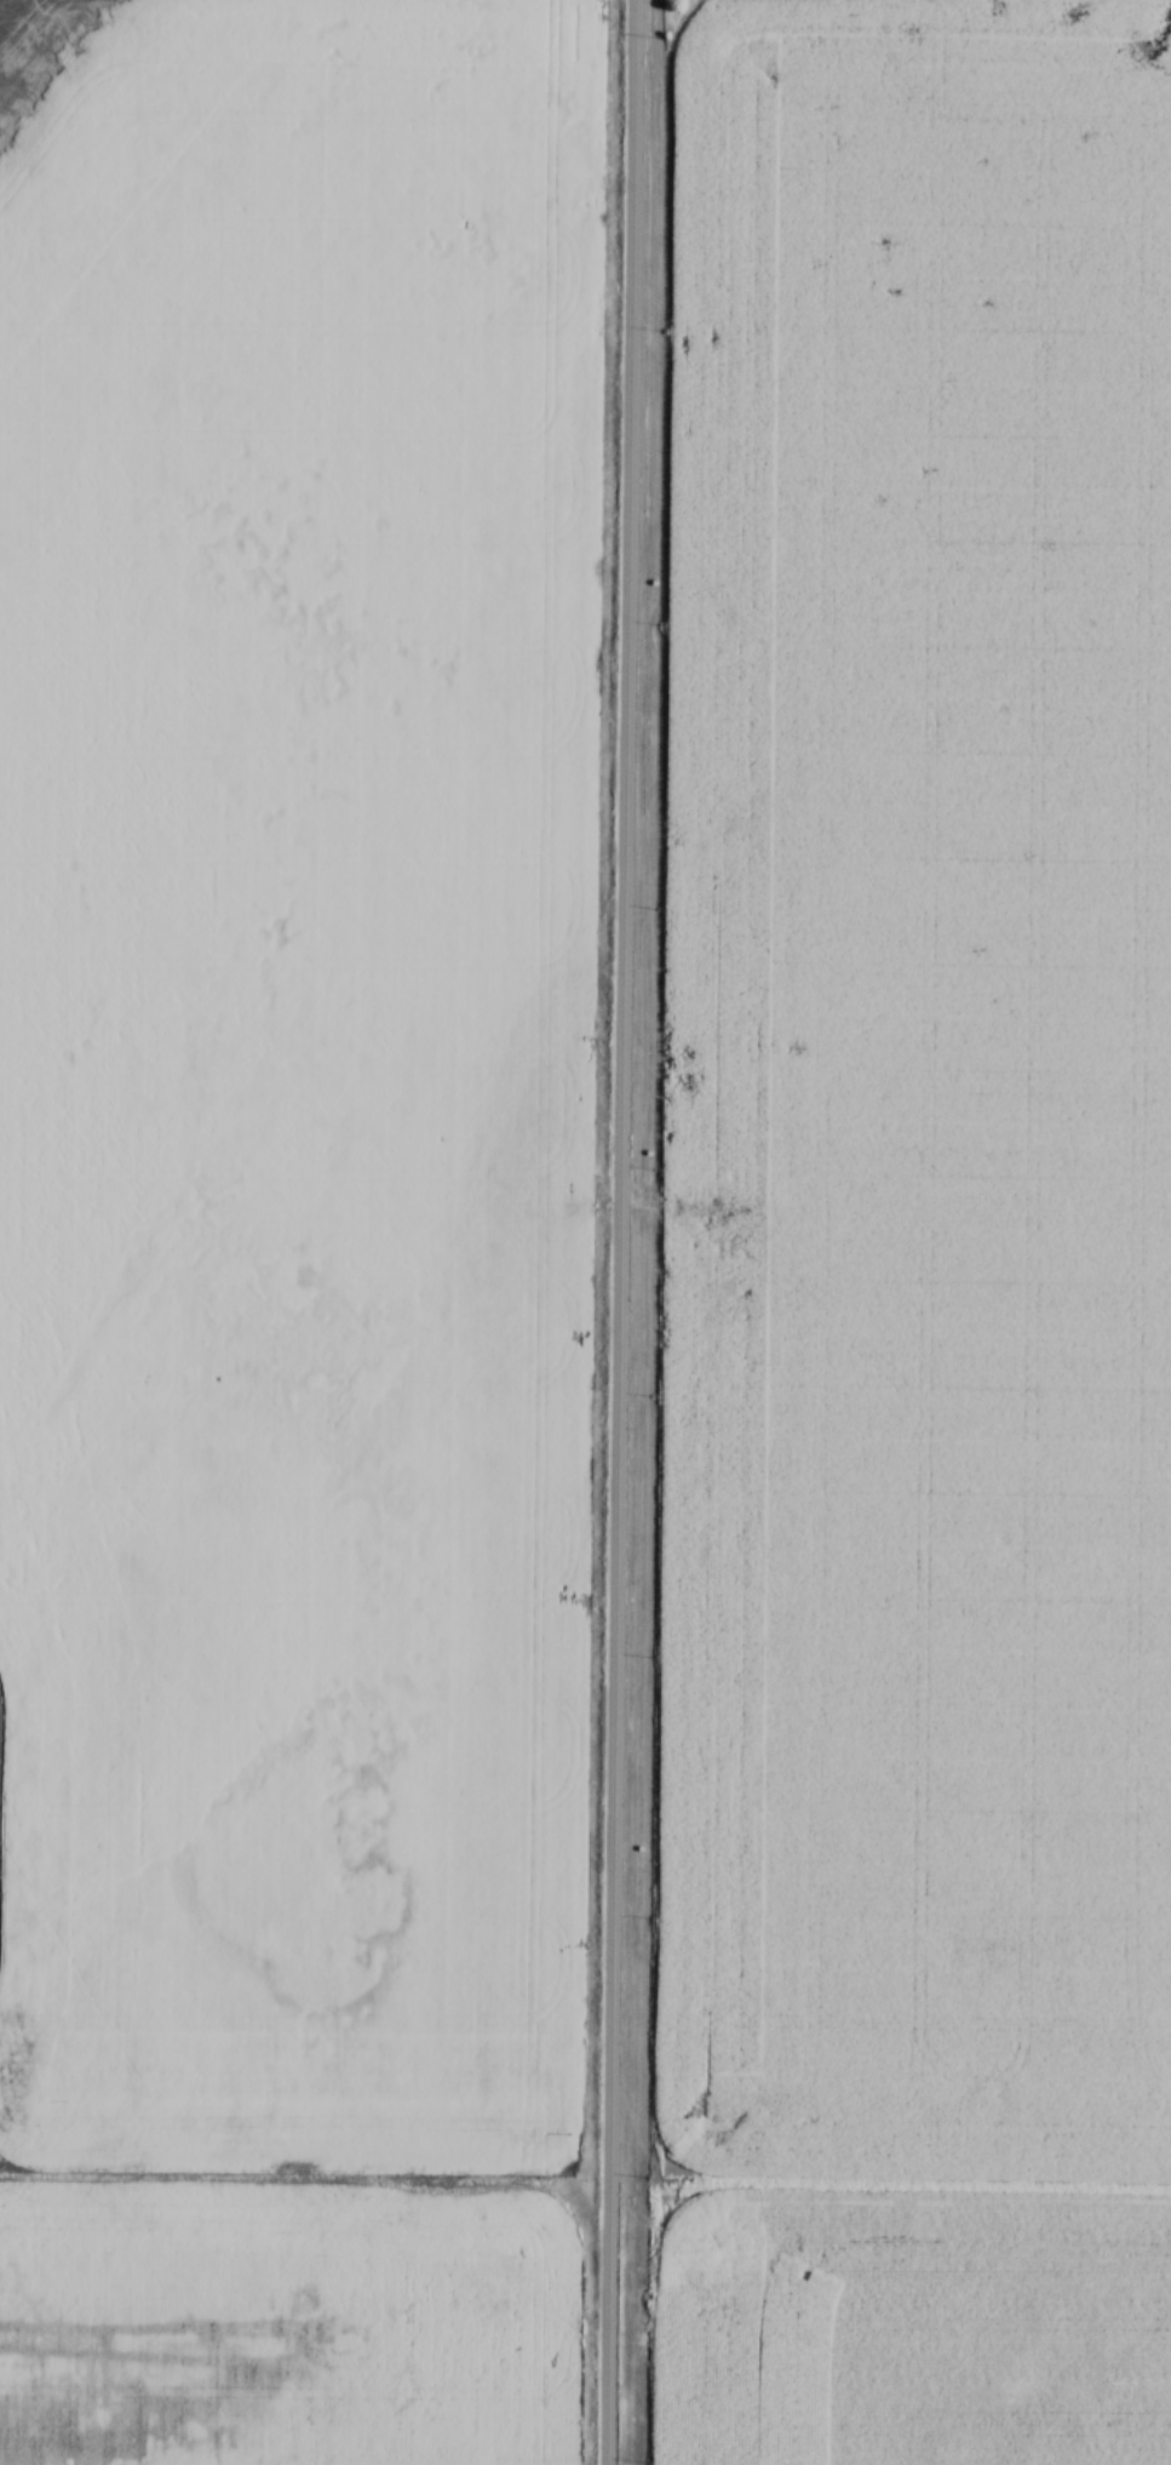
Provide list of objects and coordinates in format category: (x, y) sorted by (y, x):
road: (620, 1232)

